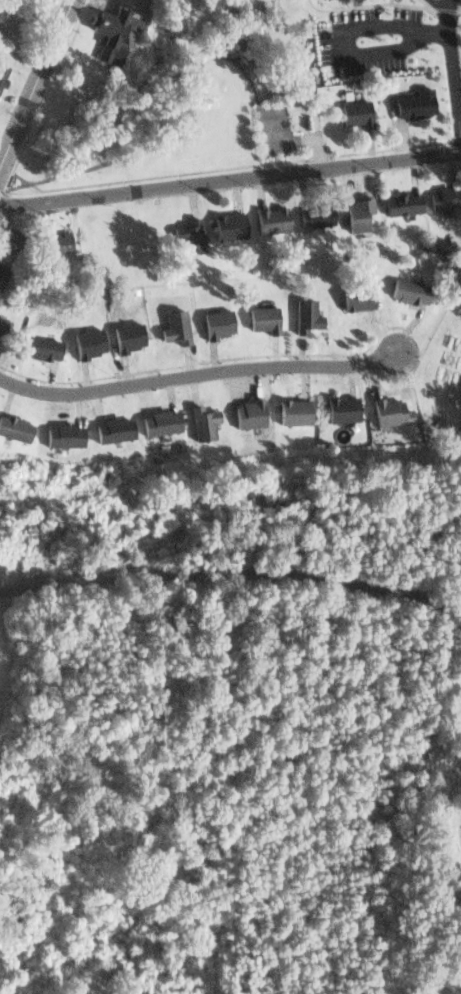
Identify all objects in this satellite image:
building: (345, 0)
road: (433, 6)
building: (112, 33)
road: (342, 55)
road: (449, 69)
building: (4, 76)
road: (36, 85)
building: (411, 102)
building: (350, 112)
road: (230, 180)
building: (443, 197)
building: (398, 202)
building: (354, 212)
building: (313, 216)
building: (269, 220)
building: (224, 223)
building: (187, 233)
building: (9, 241)
building: (55, 242)
building: (2, 272)
building: (404, 288)
building: (352, 296)
building: (302, 313)
building: (259, 319)
building: (212, 323)
building: (172, 324)
building: (1, 326)
building: (123, 336)
building: (85, 343)
building: (35, 345)
road: (197, 373)
building: (336, 406)
building: (246, 410)
building: (286, 410)
building: (385, 411)
building: (154, 419)
building: (197, 422)
building: (13, 427)
building: (106, 428)
building: (60, 434)
railway: (231, 571)

